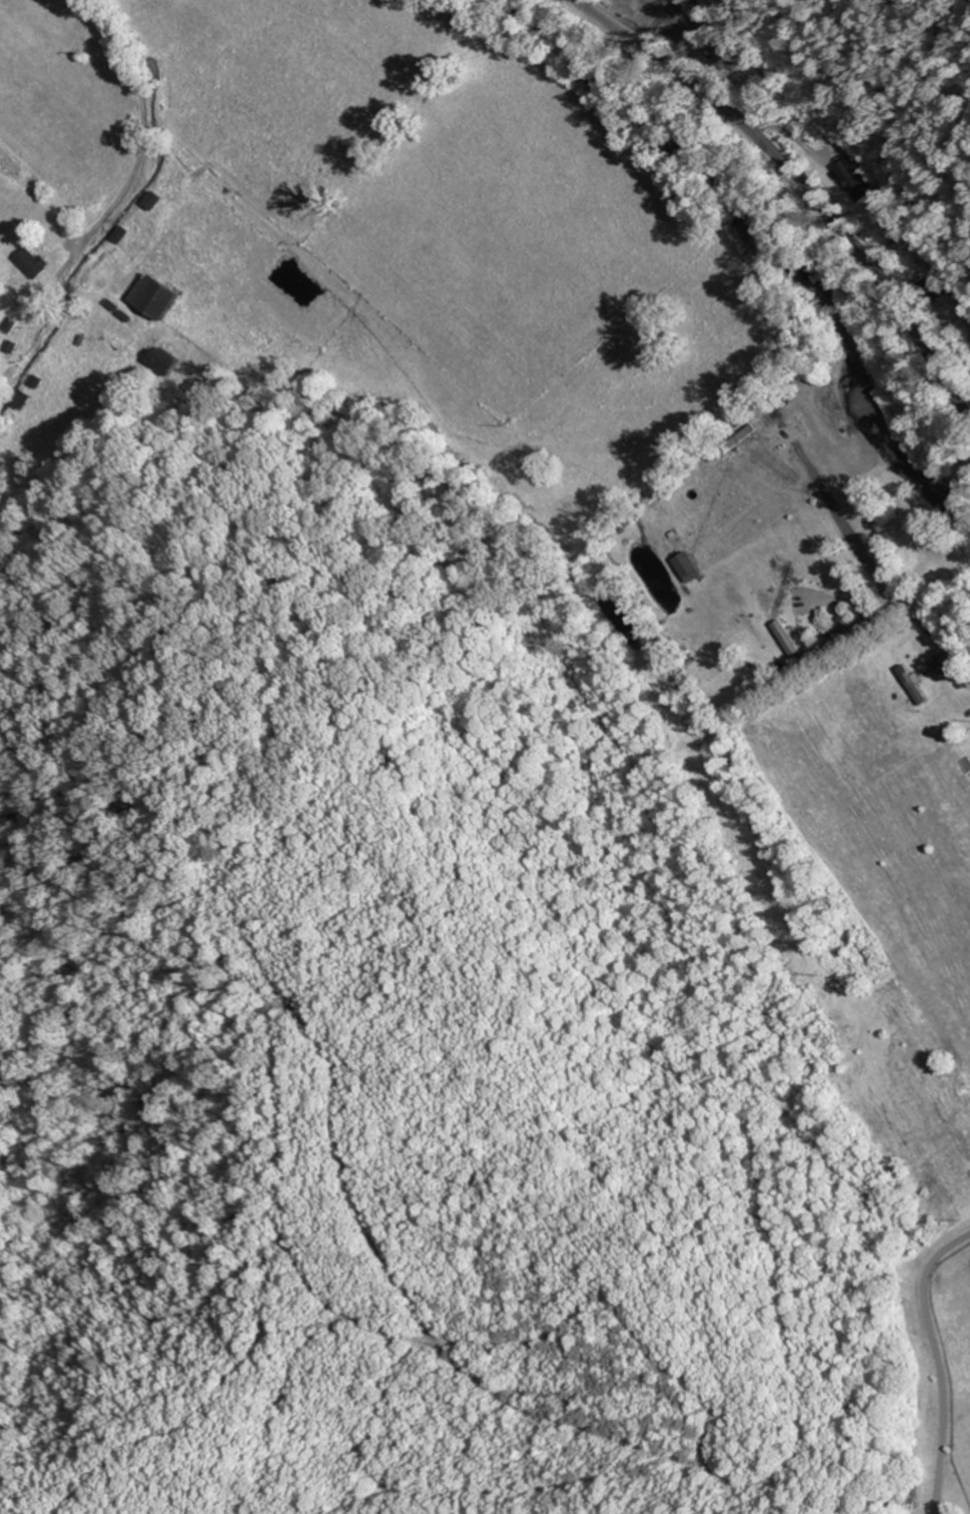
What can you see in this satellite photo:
road: (41, 132)
building: (853, 178)
road: (802, 189)
building: (157, 200)
building: (122, 234)
building: (36, 263)
building: (156, 295)
building: (165, 360)
building: (34, 382)
building: (22, 400)
building: (690, 566)
building: (791, 642)
building: (915, 685)

